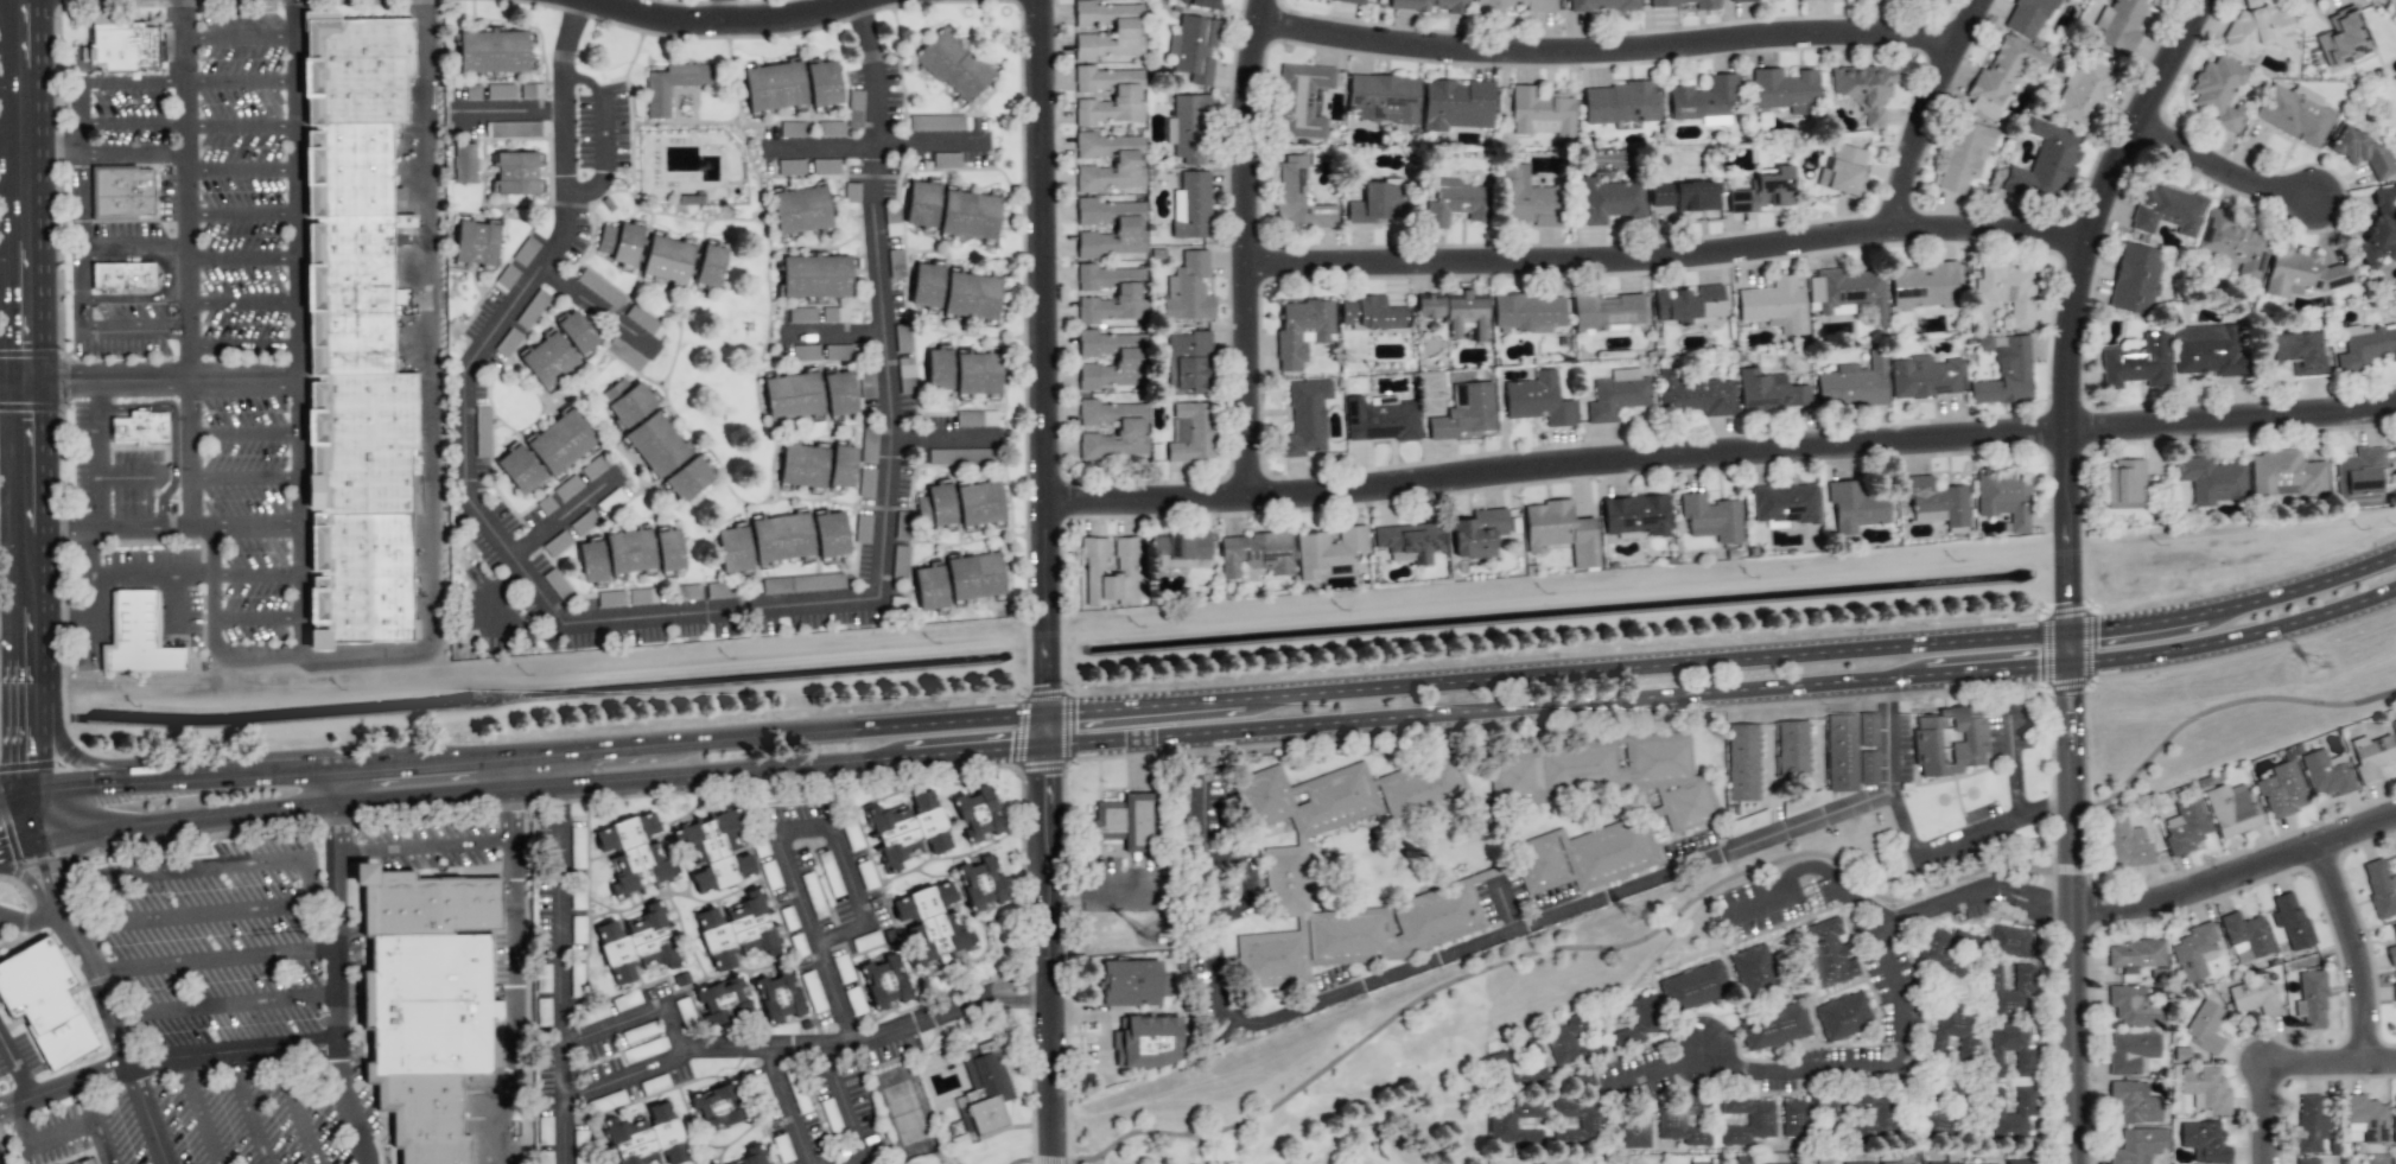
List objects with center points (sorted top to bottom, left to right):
building: (1731, 0)
building: (1348, 1)
building: (1199, 4)
building: (1686, 4)
building: (1513, 5)
building: (1602, 5)
building: (1430, 6)
road: (720, 15)
building: (2030, 17)
building: (2119, 24)
building: (1126, 30)
building: (2256, 30)
road: (724, 31)
road: (239, 36)
building: (2343, 38)
building: (125, 46)
building: (1194, 47)
building: (491, 52)
road: (1614, 61)
building: (953, 65)
building: (2001, 76)
road: (239, 82)
building: (822, 83)
building: (672, 85)
building: (774, 85)
building: (1864, 89)
building: (1784, 90)
building: (2218, 91)
building: (2082, 94)
building: (1124, 95)
building: (1383, 98)
building: (1703, 100)
building: (1301, 101)
building: (1457, 104)
building: (1620, 104)
building: (853, 109)
road: (506, 110)
building: (1540, 112)
road: (1940, 113)
building: (2295, 113)
building: (936, 122)
road: (186, 126)
building: (831, 128)
building: (514, 129)
building: (793, 129)
building: (1189, 129)
road: (603, 136)
road: (872, 148)
building: (1964, 155)
road: (106, 157)
building: (464, 161)
building: (1125, 161)
building: (2045, 165)
building: (825, 166)
building: (790, 167)
road: (2229, 168)
road: (239, 170)
building: (1843, 171)
building: (515, 173)
building: (351, 189)
building: (1763, 191)
building: (123, 192)
parking lot: (202, 195)
building: (1298, 196)
building: (1684, 196)
building: (1527, 199)
building: (1609, 201)
building: (1455, 203)
building: (921, 204)
building: (1378, 204)
building: (1191, 205)
building: (800, 209)
building: (2167, 210)
road: (240, 214)
building: (970, 214)
road: (81, 228)
building: (1126, 228)
building: (2379, 229)
building: (475, 242)
building: (619, 242)
building: (2233, 243)
road: (132, 244)
road: (1247, 250)
building: (668, 257)
road: (240, 259)
road: (184, 263)
building: (710, 265)
road: (1676, 266)
building: (2301, 273)
building: (122, 275)
building: (815, 275)
building: (2135, 279)
building: (926, 285)
building: (1922, 286)
building: (599, 287)
building: (1188, 290)
building: (2007, 290)
building: (1127, 293)
building: (1849, 293)
building: (972, 294)
road: (240, 301)
road: (881, 304)
building: (1689, 305)
building: (1775, 305)
building: (1606, 311)
road: (597, 312)
building: (1455, 312)
road: (2086, 312)
building: (1371, 313)
building: (1527, 313)
building: (802, 314)
building: (835, 314)
building: (644, 322)
road: (295, 327)
road: (132, 331)
building: (576, 331)
building: (1301, 331)
road: (834, 335)
road: (240, 345)
building: (2366, 346)
building: (2207, 350)
building: (2299, 352)
building: (624, 354)
building: (547, 360)
building: (1127, 360)
building: (2136, 362)
building: (1187, 363)
building: (939, 368)
building: (978, 373)
building: (2006, 375)
building: (1926, 377)
road: (147, 381)
building: (866, 383)
building: (1854, 383)
building: (1769, 392)
road: (430, 393)
building: (839, 393)
building: (1616, 394)
building: (1695, 394)
building: (792, 395)
road: (33, 399)
building: (1537, 400)
building: (627, 401)
building: (1464, 412)
building: (975, 418)
building: (1307, 418)
building: (1379, 419)
building: (140, 428)
building: (1130, 430)
building: (1190, 432)
road: (241, 435)
road: (939, 439)
building: (560, 441)
building: (656, 444)
building: (867, 446)
road: (98, 454)
road: (1722, 459)
building: (802, 465)
building: (843, 465)
building: (593, 466)
building: (519, 469)
road: (464, 472)
building: (2286, 475)
building: (2359, 475)
road: (241, 477)
road: (129, 479)
building: (688, 479)
building: (2211, 479)
building: (2123, 482)
building: (2006, 498)
building: (1936, 501)
building: (979, 503)
building: (1784, 503)
building: (935, 505)
building: (1855, 507)
road: (17, 515)
building: (1635, 515)
building: (1711, 517)
road: (560, 521)
building: (584, 522)
road: (109, 528)
road: (198, 528)
building: (1561, 532)
building: (1479, 533)
building: (830, 534)
building: (781, 536)
building: (1411, 541)
building: (668, 549)
building: (733, 549)
building: (1177, 549)
building: (629, 551)
building: (1328, 551)
building: (1256, 554)
building: (591, 560)
building: (1125, 566)
building: (975, 575)
road: (255, 577)
road: (148, 578)
road: (1049, 581)
building: (802, 583)
building: (929, 587)
building: (719, 590)
road: (481, 594)
road: (85, 597)
building: (611, 598)
road: (2237, 606)
road: (178, 609)
road: (256, 618)
road: (212, 630)
building: (136, 636)
road: (18, 638)
road: (2239, 638)
power tower: (2314, 667)
road: (1562, 675)
road: (1616, 699)
building: (2394, 725)
building: (1867, 730)
building: (1949, 742)
building: (1792, 749)
building: (1841, 752)
road: (539, 755)
building: (2371, 756)
road: (859, 757)
building: (1742, 763)
road: (563, 768)
building: (1868, 768)
road: (2013, 768)
road: (511, 771)
building: (1606, 774)
building: (2326, 774)
road: (538, 784)
building: (2282, 789)
road: (425, 794)
road: (14, 803)
building: (2231, 809)
road: (511, 812)
building: (978, 813)
road: (32, 820)
road: (186, 822)
building: (2185, 826)
building: (909, 829)
road: (1963, 840)
building: (2124, 845)
road: (424, 846)
road: (18, 848)
building: (713, 851)
building: (633, 853)
building: (1584, 855)
road: (66, 861)
building: (1283, 866)
road: (229, 867)
road: (2238, 870)
road: (45, 878)
building: (981, 883)
road: (33, 885)
building: (2379, 888)
road: (1097, 895)
road: (116, 902)
road: (859, 905)
road: (1505, 905)
road: (2076, 907)
road: (1880, 911)
road: (203, 916)
road: (1690, 916)
power tower: (1634, 918)
road: (30, 921)
building: (577, 921)
building: (2290, 921)
building: (930, 923)
building: (2394, 930)
building: (736, 931)
building: (2245, 935)
building: (2008, 941)
road: (815, 942)
building: (636, 943)
road: (1475, 944)
road: (2358, 948)
building: (1947, 952)
building: (2193, 952)
building: (1828, 953)
building: (2391, 955)
road: (214, 958)
building: (2135, 958)
building: (1753, 969)
road: (336, 971)
road: (564, 973)
building: (576, 980)
building: (884, 981)
building: (1132, 982)
building: (1695, 986)
road: (999, 990)
building: (813, 992)
building: (2008, 992)
building: (2394, 993)
building: (778, 997)
building: (2254, 997)
road: (508, 1000)
building: (2312, 1000)
building: (722, 1001)
building: (44, 1003)
building: (426, 1003)
road: (223, 1005)
building: (2133, 1006)
building: (1843, 1016)
road: (635, 1017)
building: (1638, 1023)
building: (1774, 1026)
building: (2204, 1026)
building: (1952, 1035)
road: (115, 1036)
building: (1572, 1041)
building: (1148, 1042)
road: (780, 1047)
building: (2009, 1049)
building: (2131, 1052)
road: (164, 1060)
road: (2331, 1062)
road: (17, 1067)
road: (1825, 1067)
building: (1515, 1074)
building: (985, 1087)
building: (2204, 1090)
building: (2134, 1102)
road: (294, 1106)
road: (786, 1106)
building: (717, 1107)
road: (248, 1108)
road: (198, 1111)
road: (847, 1111)
road: (2264, 1113)
building: (1933, 1115)
building: (2009, 1115)
building: (1881, 1117)
building: (2395, 1117)
building: (1683, 1120)
building: (1747, 1120)
building: (2364, 1120)
road: (96, 1121)
building: (1578, 1122)
building: (1515, 1124)
building: (2309, 1124)
park: (1375, 1125)
building: (1631, 1130)
building: (647, 1138)
road: (42, 1141)
building: (2204, 1141)
building: (2138, 1145)
building: (580, 1146)
building: (751, 1156)
building: (1741, 1159)
building: (1824, 1160)
building: (2307, 1160)
building: (87, 1162)
building: (1537, 1162)
building: (2022, 1162)
building: (714, 1163)
building: (1697, 1163)
building: (1860, 1163)
building: (1898, 1163)
building: (1943, 1163)

